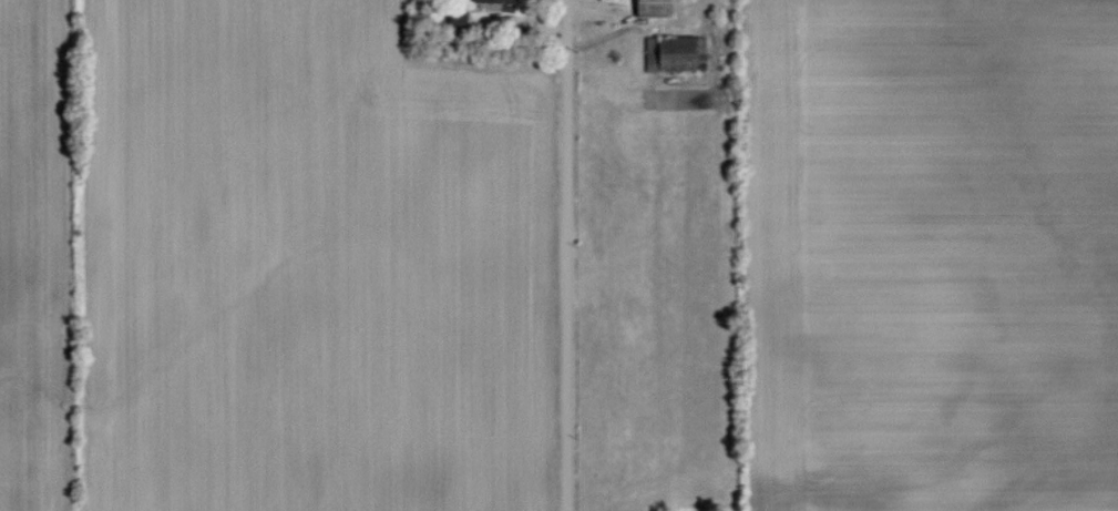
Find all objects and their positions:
building: (495, 0)
building: (650, 8)
building: (453, 16)
building: (677, 52)
road: (567, 255)

